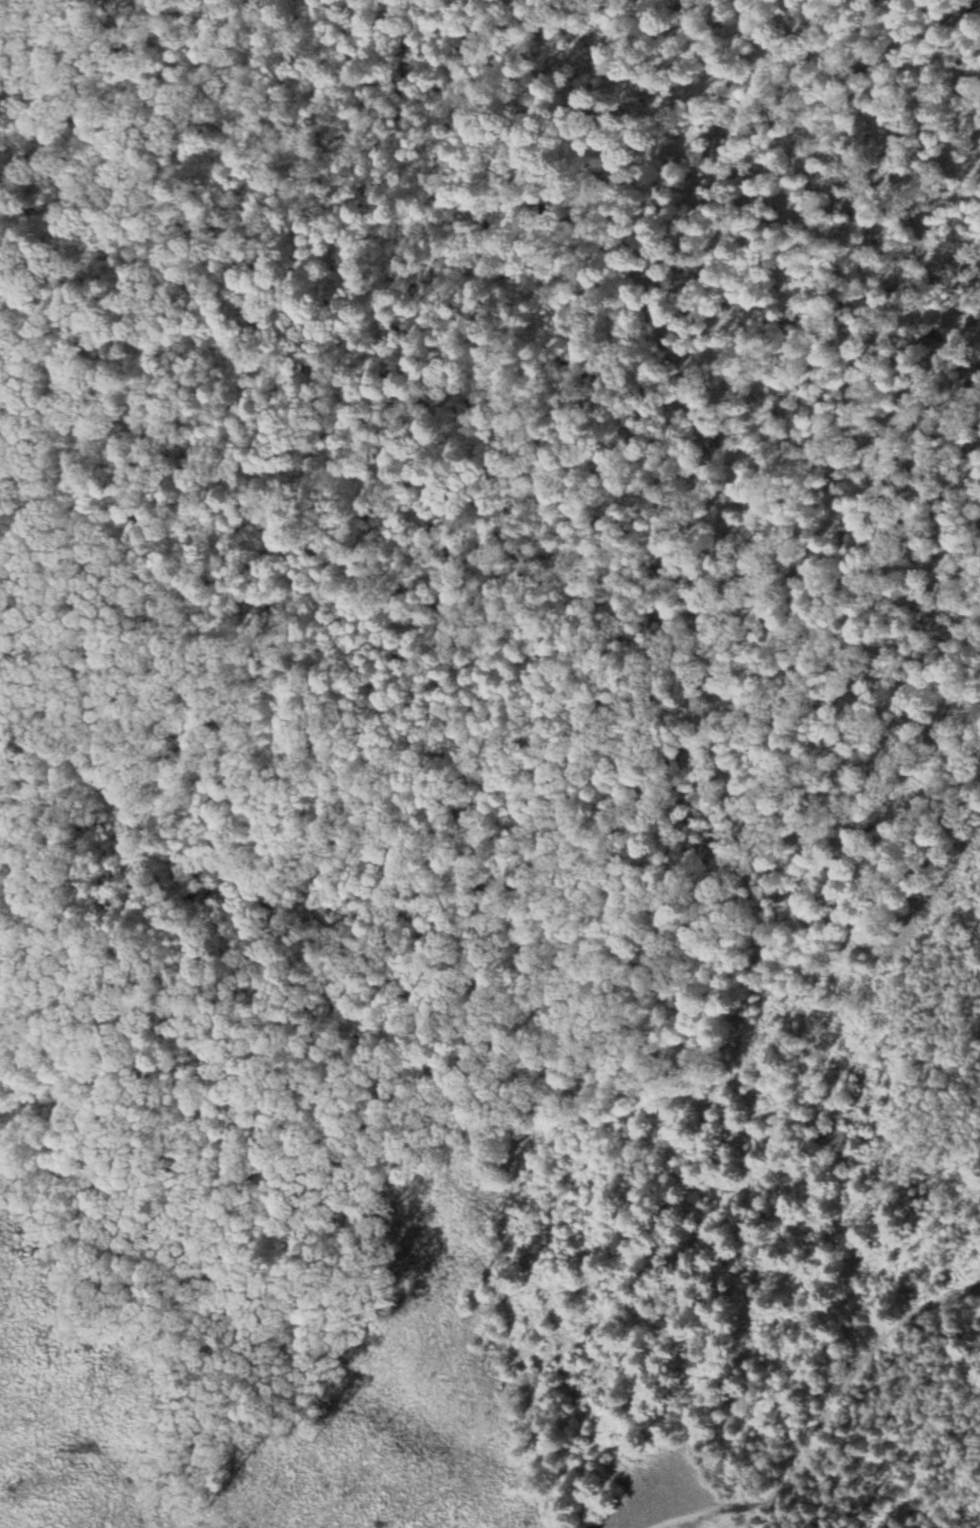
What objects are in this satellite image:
road: (853, 66)
road: (445, 516)
road: (831, 1410)

